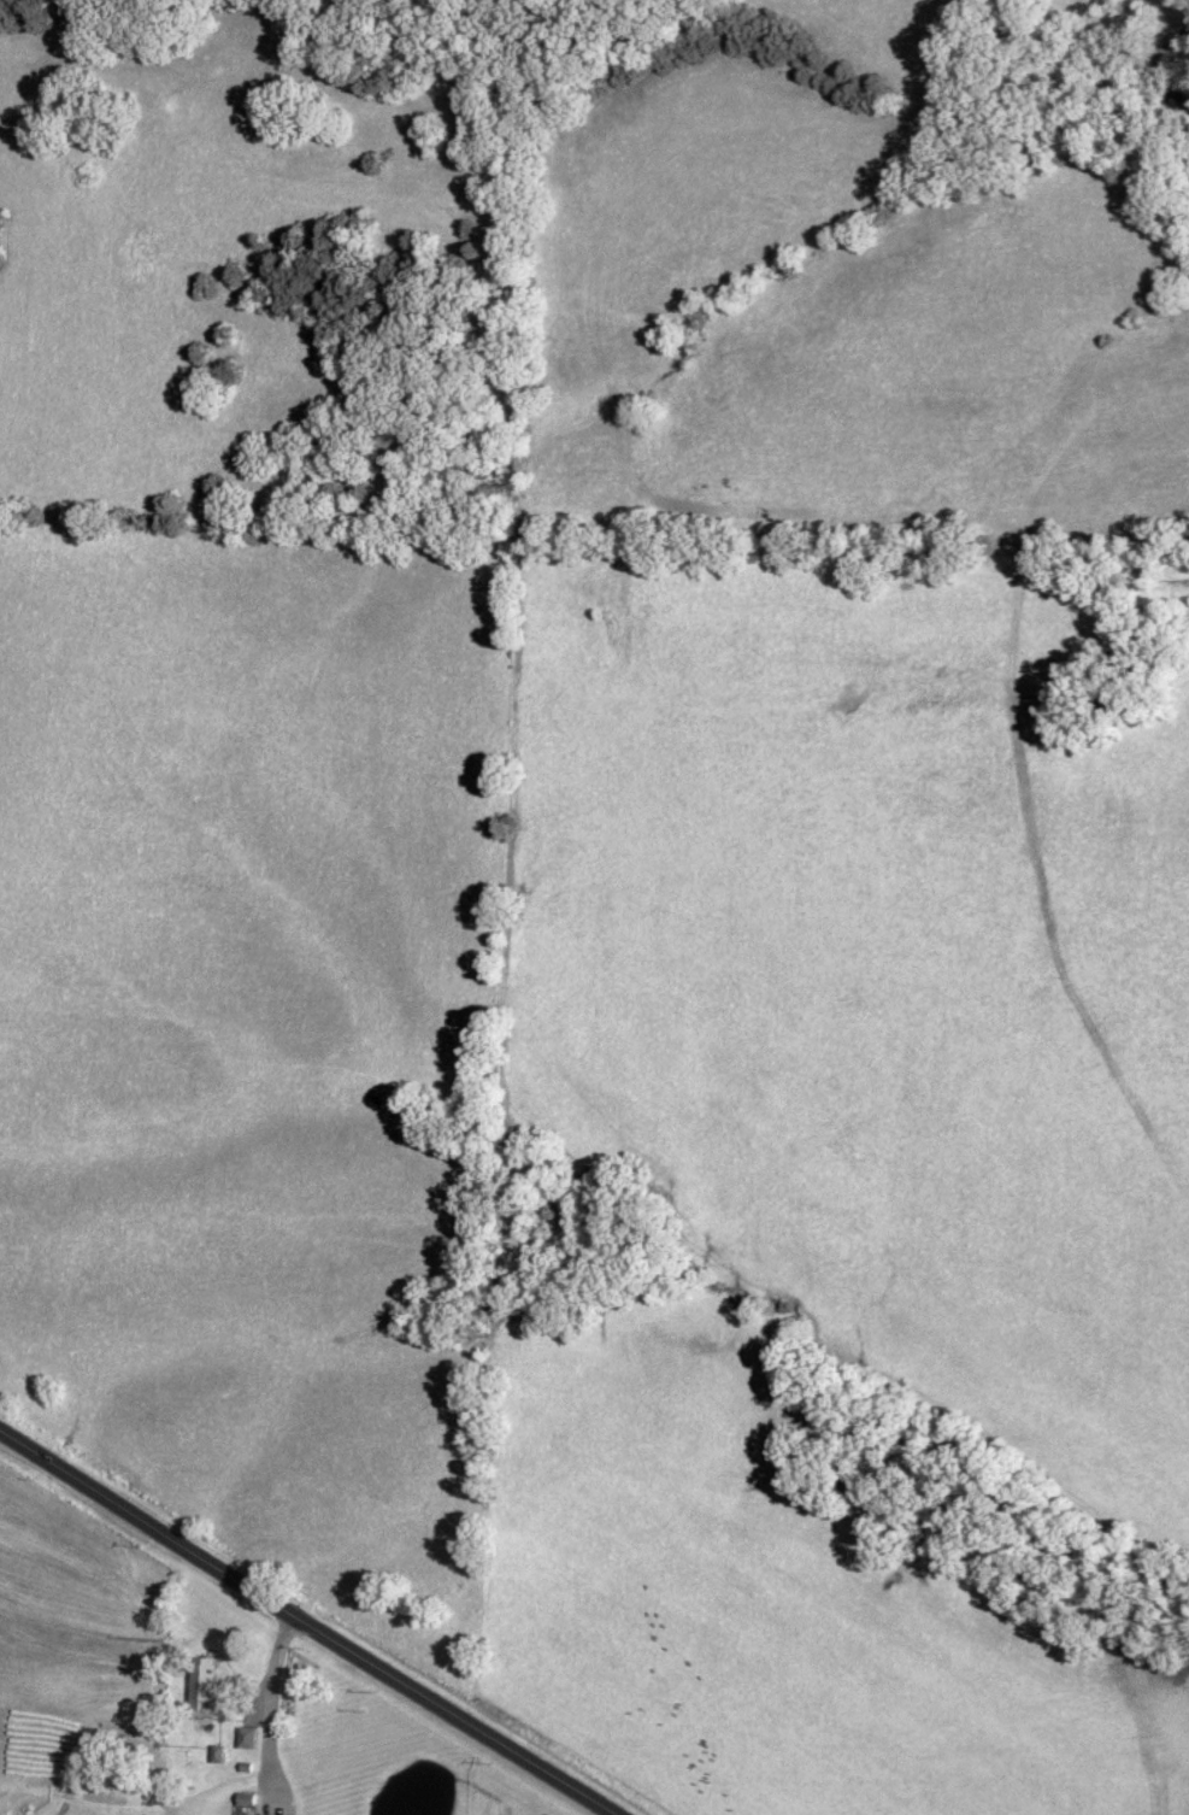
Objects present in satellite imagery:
road: (304, 1625)
building: (207, 1687)
road: (270, 1709)
building: (249, 1739)

